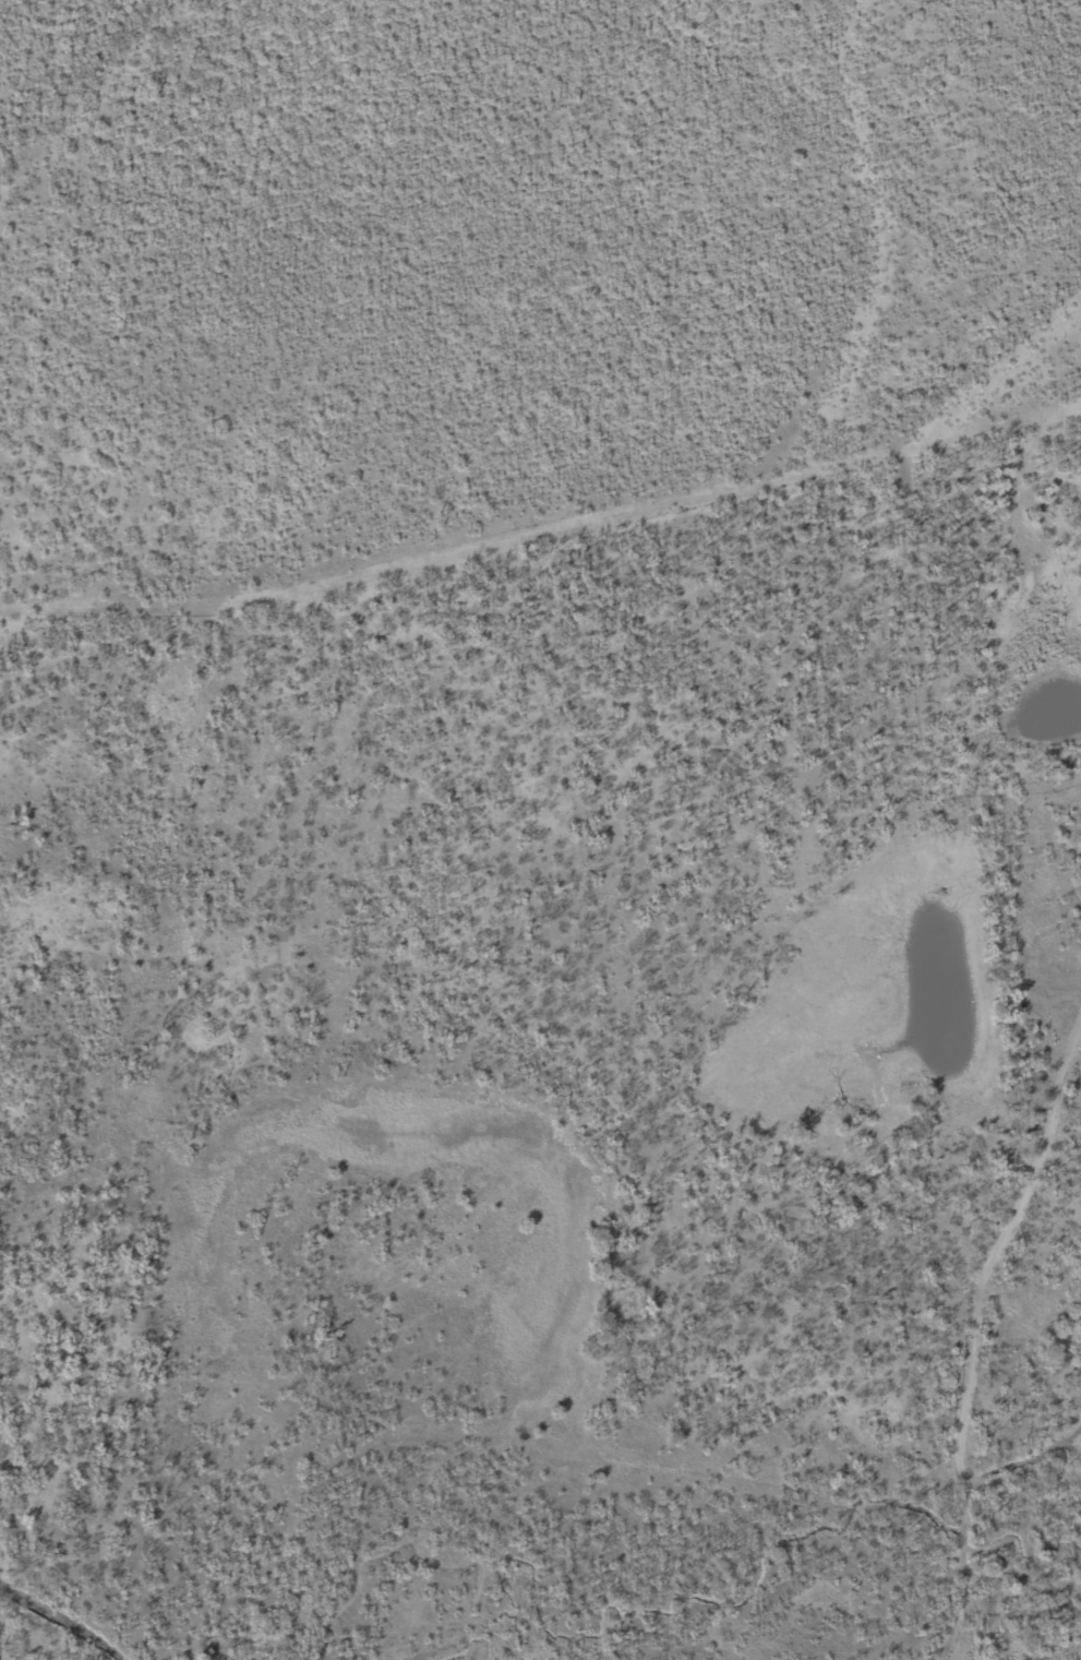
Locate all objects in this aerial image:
road: (987, 1368)

